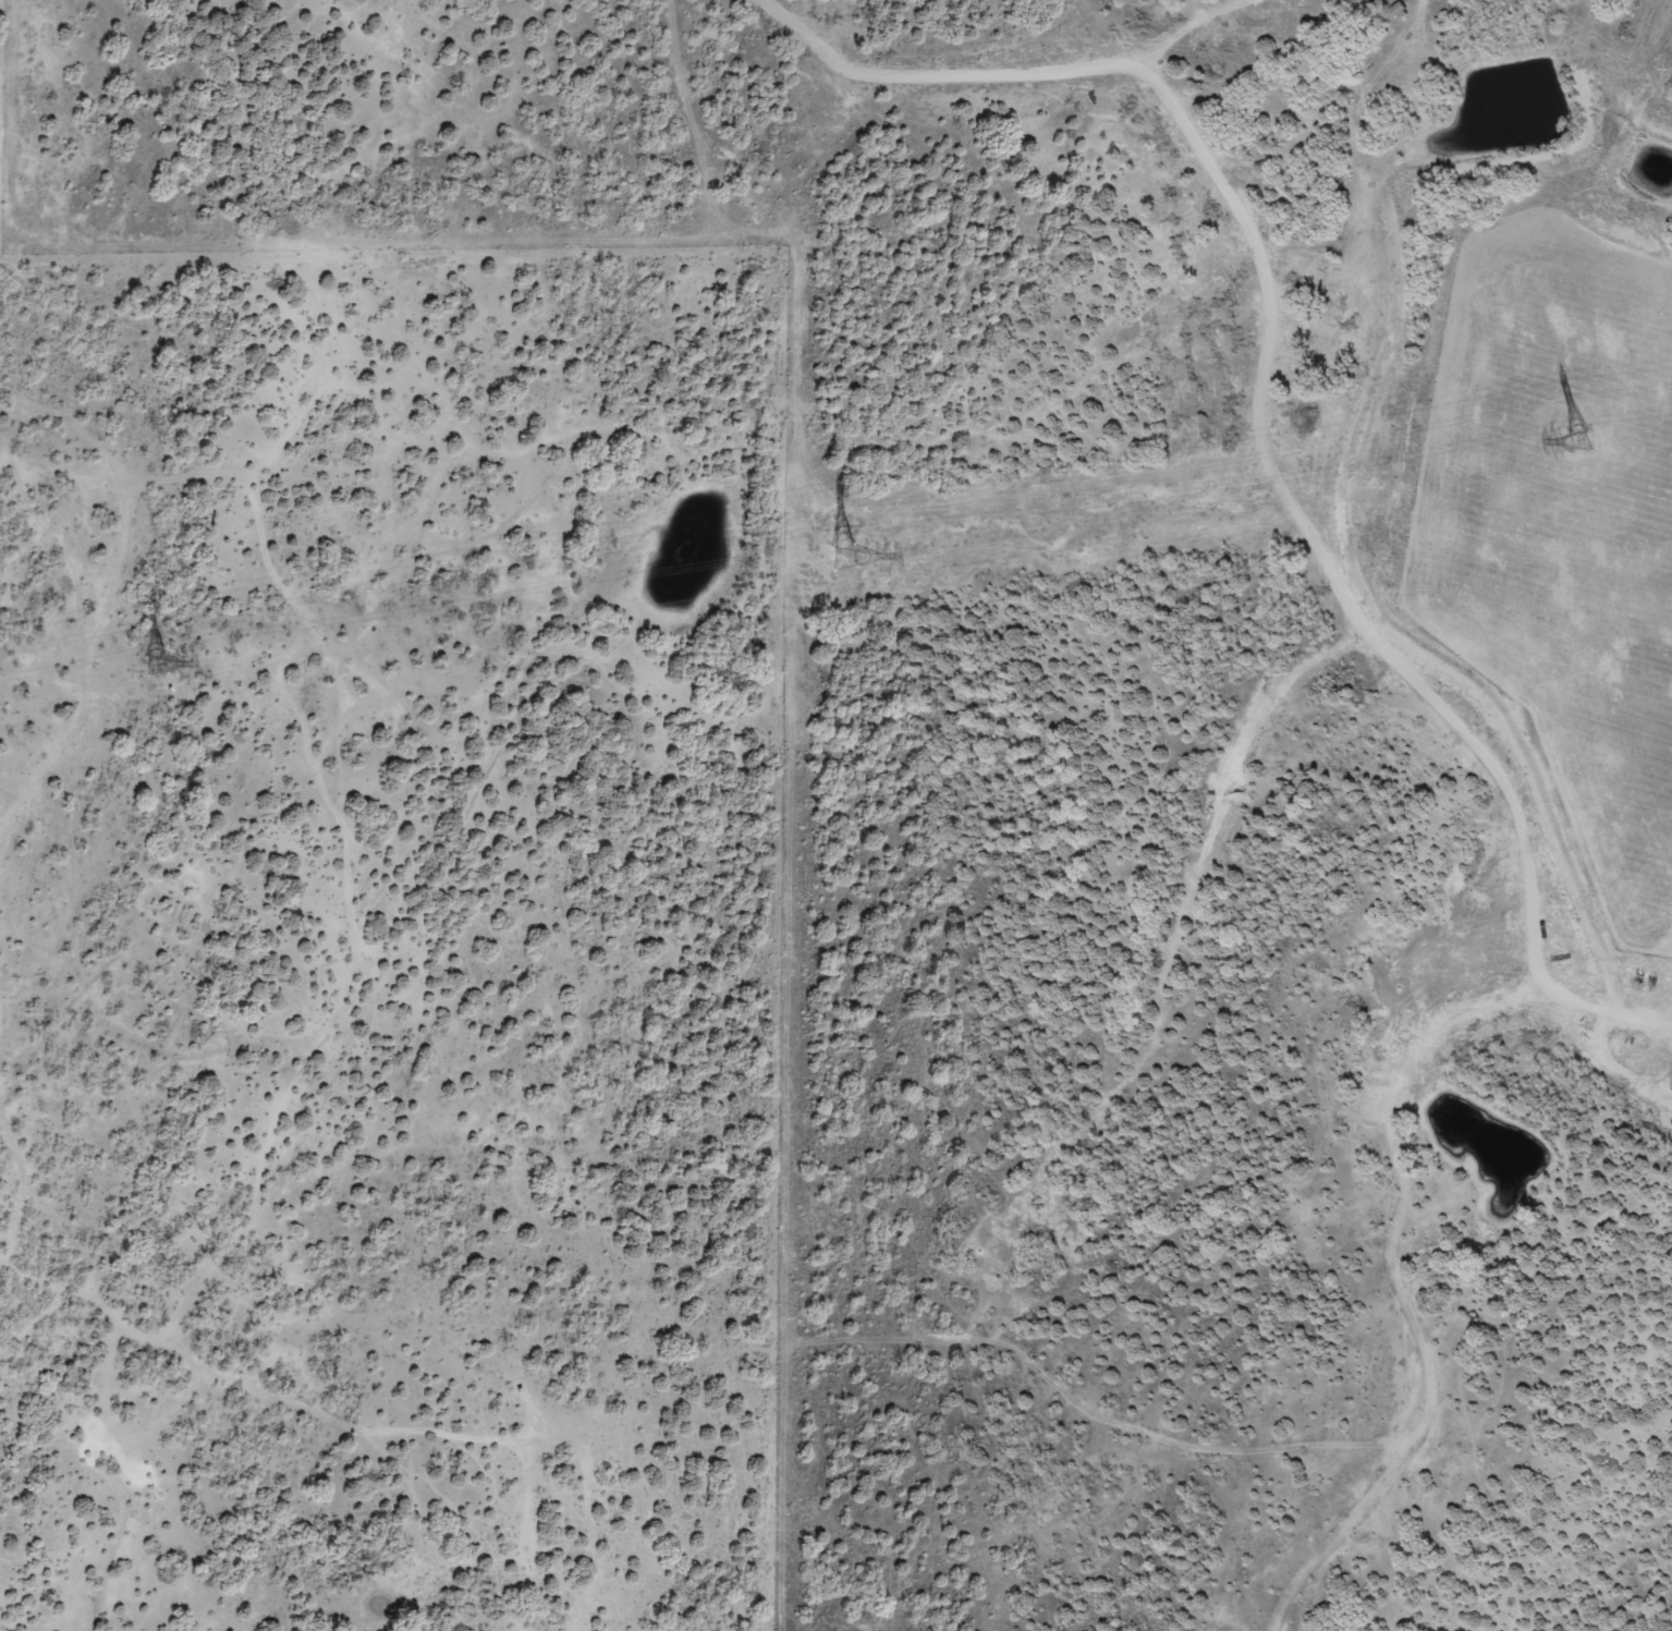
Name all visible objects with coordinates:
power tower: (1578, 442)
power tower: (844, 559)
power tower: (156, 665)

